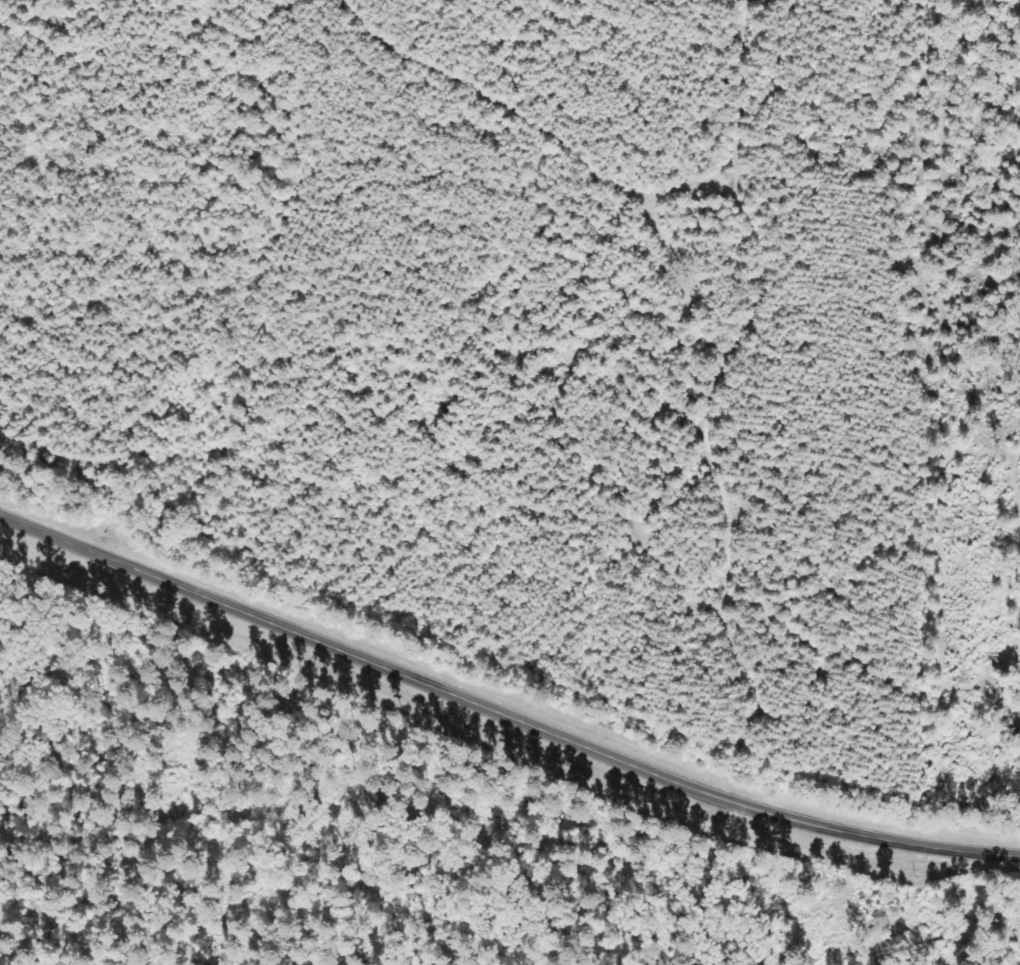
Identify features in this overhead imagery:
park: (9, 546)
road: (502, 713)
road: (199, 833)

